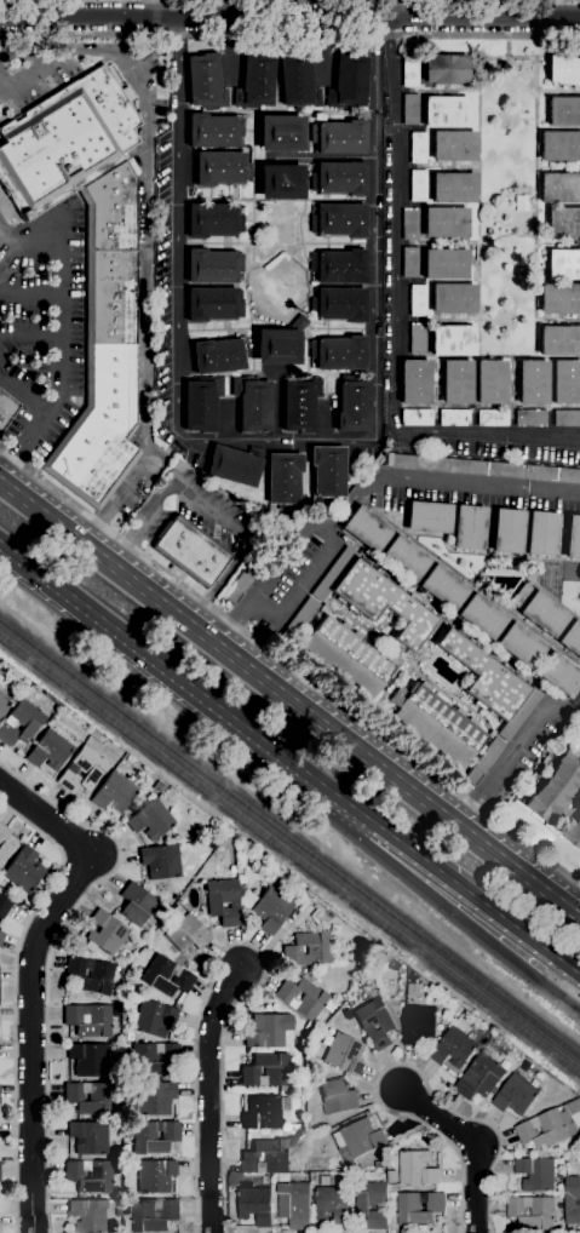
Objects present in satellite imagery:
road: (208, 8)
road: (289, 18)
road: (289, 34)
building: (444, 69)
building: (563, 70)
building: (409, 71)
road: (30, 74)
building: (205, 82)
building: (254, 82)
building: (298, 82)
building: (348, 82)
building: (127, 94)
building: (409, 109)
building: (446, 113)
building: (563, 113)
building: (213, 131)
building: (280, 133)
building: (339, 138)
building: (64, 142)
building: (453, 147)
building: (559, 147)
building: (417, 148)
road: (321, 159)
building: (220, 168)
building: (339, 178)
building: (280, 183)
building: (417, 187)
building: (453, 188)
building: (559, 189)
building: (213, 220)
building: (339, 220)
building: (446, 223)
building: (563, 223)
building: (409, 224)
road: (375, 228)
road: (143, 242)
road: (29, 243)
building: (409, 263)
building: (446, 265)
building: (563, 265)
building: (213, 266)
building: (339, 266)
road: (30, 296)
building: (452, 299)
building: (559, 299)
building: (417, 300)
building: (212, 304)
building: (339, 305)
road: (396, 317)
parking lot: (41, 321)
road: (177, 323)
road: (30, 339)
building: (417, 339)
building: (453, 342)
building: (559, 342)
building: (278, 344)
building: (104, 346)
building: (338, 354)
building: (219, 356)
road: (61, 366)
building: (456, 382)
building: (414, 383)
building: (490, 383)
building: (533, 383)
building: (565, 383)
road: (24, 396)
building: (201, 405)
building: (252, 405)
building: (299, 405)
building: (352, 405)
building: (6, 409)
building: (417, 418)
building: (454, 418)
building: (492, 418)
building: (530, 418)
building: (567, 418)
building: (235, 465)
building: (478, 469)
building: (327, 474)
road: (436, 480)
building: (283, 481)
road: (205, 507)
building: (429, 517)
building: (469, 528)
building: (366, 529)
building: (507, 532)
building: (541, 534)
building: (573, 538)
building: (190, 551)
building: (404, 558)
road: (268, 583)
road: (303, 583)
building: (443, 587)
building: (521, 593)
building: (374, 598)
building: (544, 614)
building: (482, 616)
building: (298, 621)
road: (104, 627)
building: (572, 638)
building: (521, 646)
building: (346, 659)
road: (289, 666)
building: (558, 675)
building: (490, 683)
road: (289, 689)
building: (4, 701)
building: (21, 723)
building: (436, 723)
building: (490, 734)
road: (513, 746)
building: (48, 751)
building: (483, 762)
building: (82, 770)
building: (159, 787)
building: (555, 788)
building: (114, 792)
building: (151, 820)
building: (573, 833)
road: (395, 838)
railway: (289, 841)
building: (4, 843)
building: (214, 844)
railway: (289, 853)
building: (160, 861)
road: (390, 861)
building: (232, 868)
building: (24, 871)
building: (246, 899)
building: (223, 902)
building: (4, 906)
building: (137, 907)
building: (270, 911)
building: (104, 934)
building: (1, 936)
building: (188, 937)
road: (247, 946)
building: (308, 950)
road: (50, 953)
building: (357, 954)
building: (392, 964)
road: (31, 973)
building: (90, 975)
building: (166, 976)
building: (412, 977)
building: (413, 990)
road: (16, 997)
building: (303, 998)
building: (150, 1019)
building: (88, 1020)
building: (374, 1023)
building: (418, 1023)
building: (308, 1026)
building: (269, 1032)
building: (453, 1048)
building: (341, 1054)
building: (87, 1060)
building: (153, 1060)
road: (396, 1063)
building: (264, 1071)
building: (479, 1077)
road: (211, 1095)
building: (515, 1095)
building: (337, 1096)
building: (88, 1097)
building: (151, 1100)
building: (264, 1112)
building: (550, 1125)
building: (153, 1136)
building: (88, 1139)
building: (358, 1139)
road: (475, 1142)
building: (266, 1157)
building: (417, 1168)
building: (535, 1172)
building: (90, 1176)
building: (154, 1176)
building: (325, 1180)
building: (573, 1199)
building: (254, 1203)
building: (372, 1203)
building: (294, 1204)
building: (333, 1204)
building: (418, 1206)
building: (117, 1211)
building: (532, 1211)
building: (153, 1215)
building: (90, 1216)

